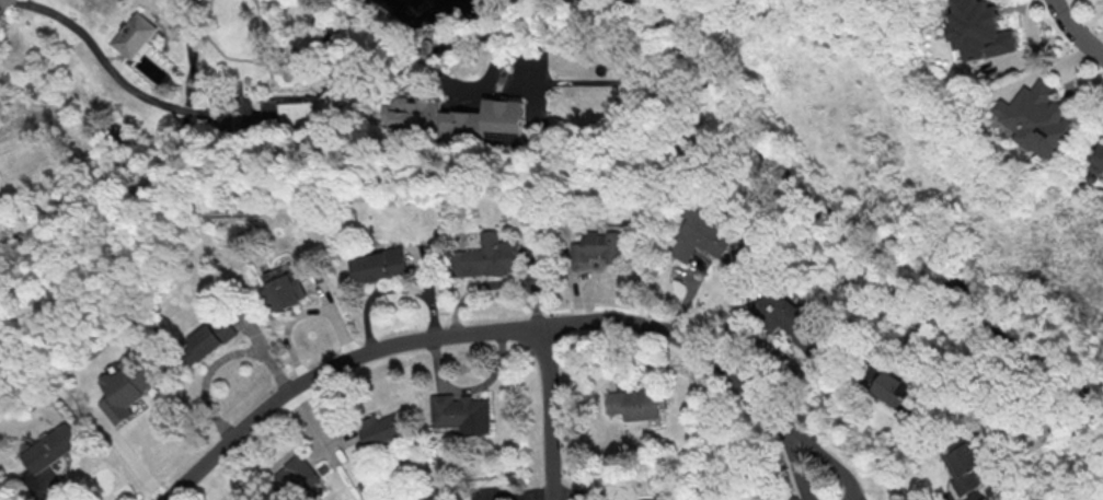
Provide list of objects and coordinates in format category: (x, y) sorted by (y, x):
road: (494, 13)
building: (979, 30)
road: (1075, 31)
building: (133, 35)
road: (165, 35)
road: (186, 36)
road: (199, 36)
road: (495, 36)
road: (99, 54)
road: (274, 54)
road: (225, 56)
road: (113, 57)
road: (528, 67)
road: (491, 72)
road: (267, 83)
road: (560, 83)
road: (268, 89)
road: (504, 90)
road: (185, 111)
building: (297, 112)
road: (214, 116)
building: (455, 117)
building: (1096, 159)
building: (704, 236)
building: (596, 248)
building: (486, 256)
building: (382, 268)
building: (284, 286)
building: (786, 318)
building: (212, 336)
road: (717, 360)
road: (336, 369)
building: (128, 386)
building: (896, 392)
building: (632, 403)
building: (461, 412)
road: (549, 412)
building: (381, 430)
building: (53, 446)
building: (966, 472)
building: (296, 475)

